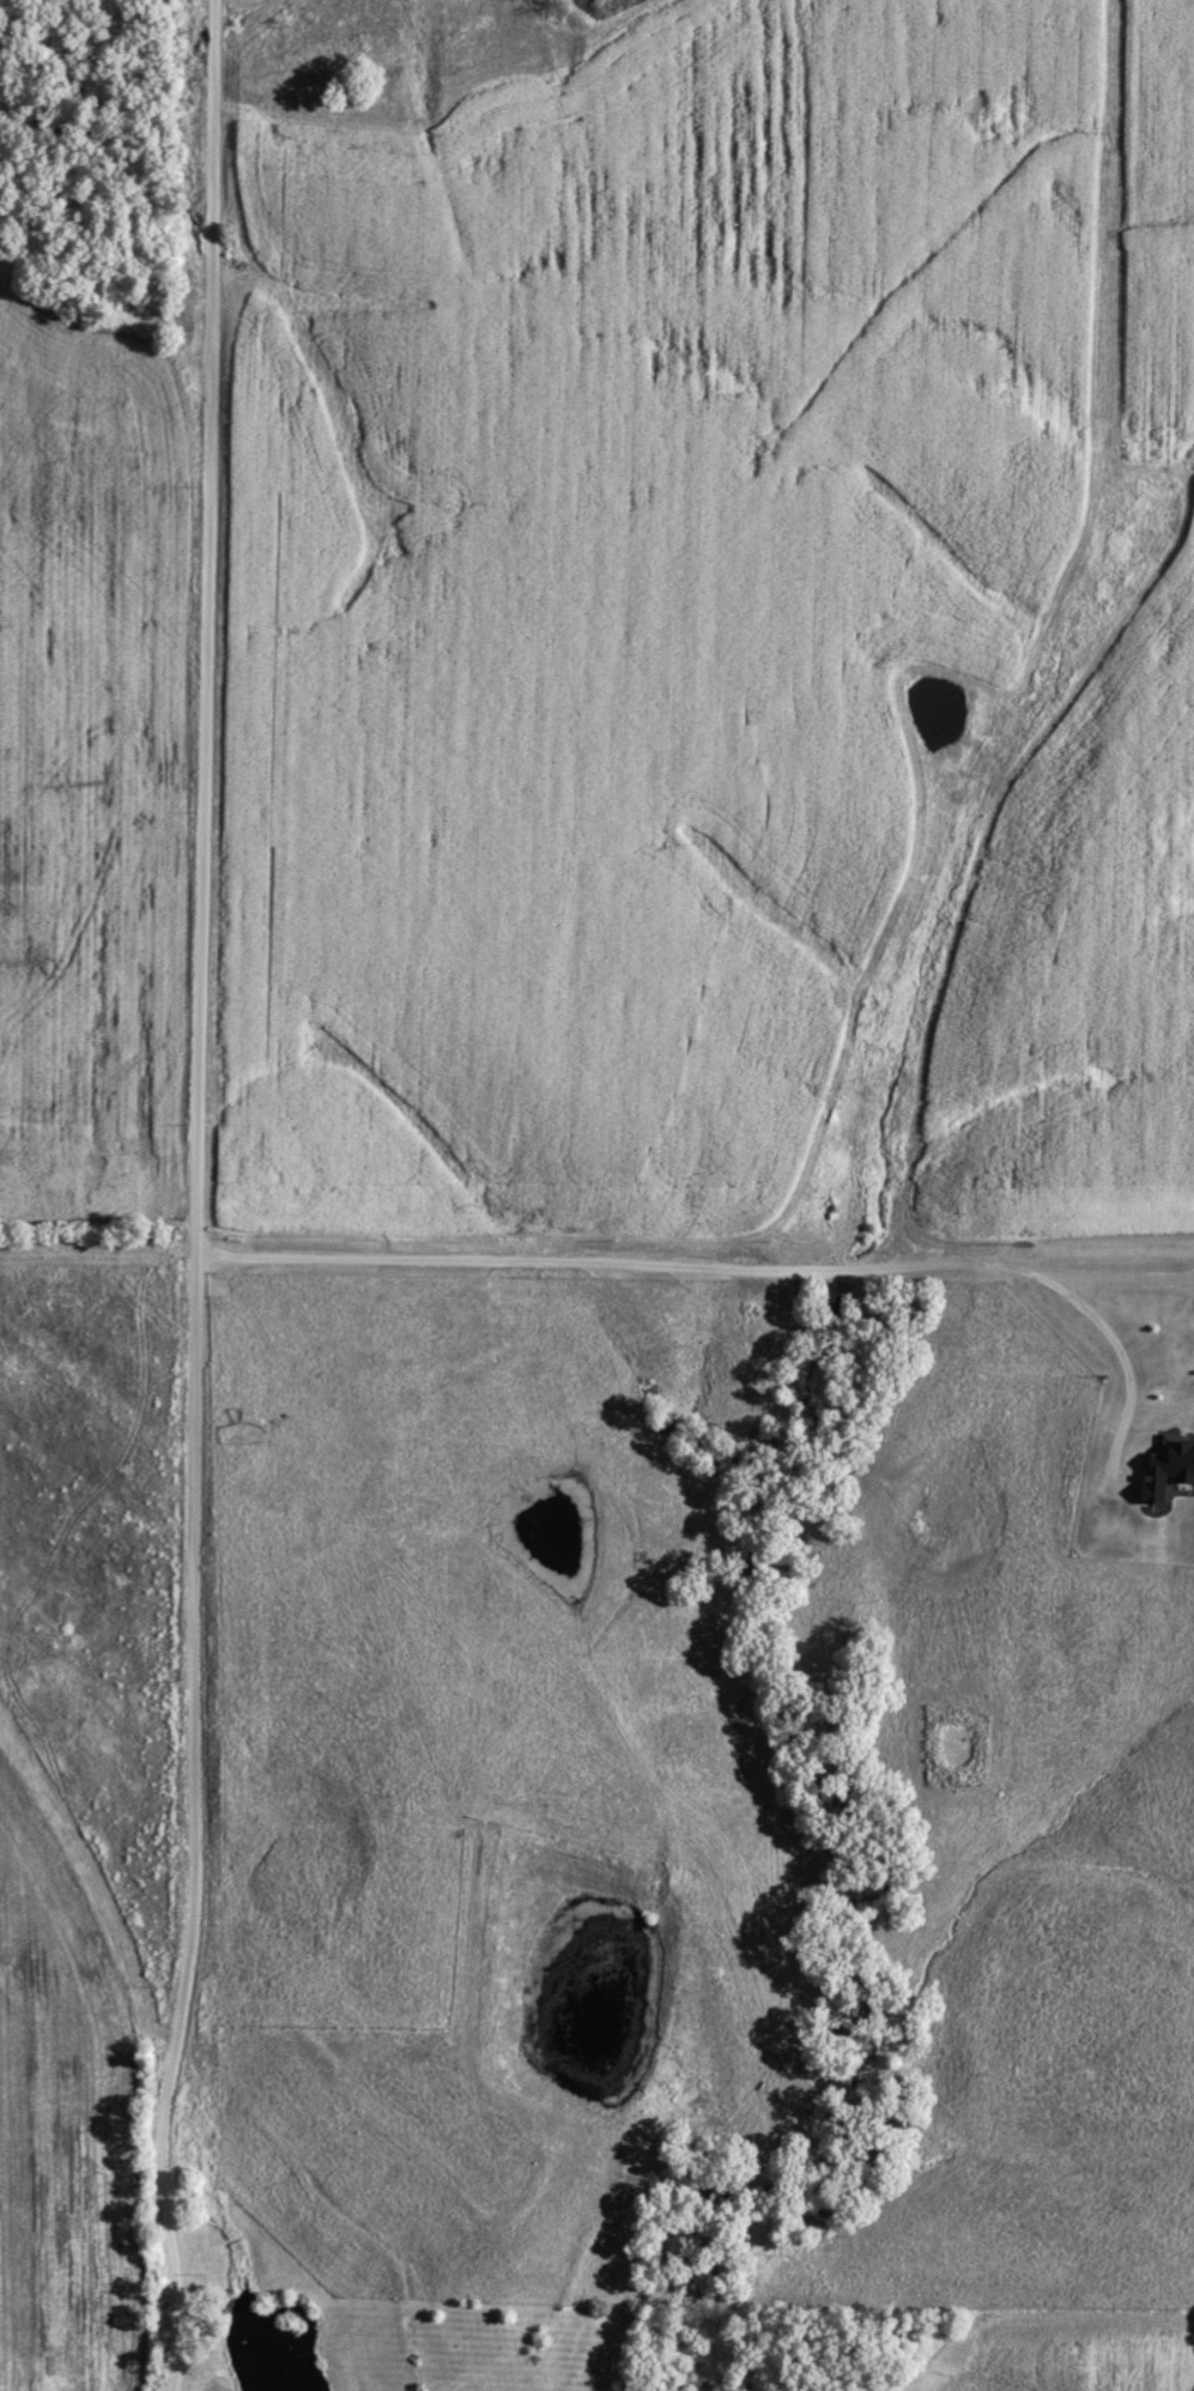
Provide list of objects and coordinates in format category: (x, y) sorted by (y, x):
road: (199, 1197)
road: (750, 1267)
road: (1132, 1277)
building: (1170, 1467)

